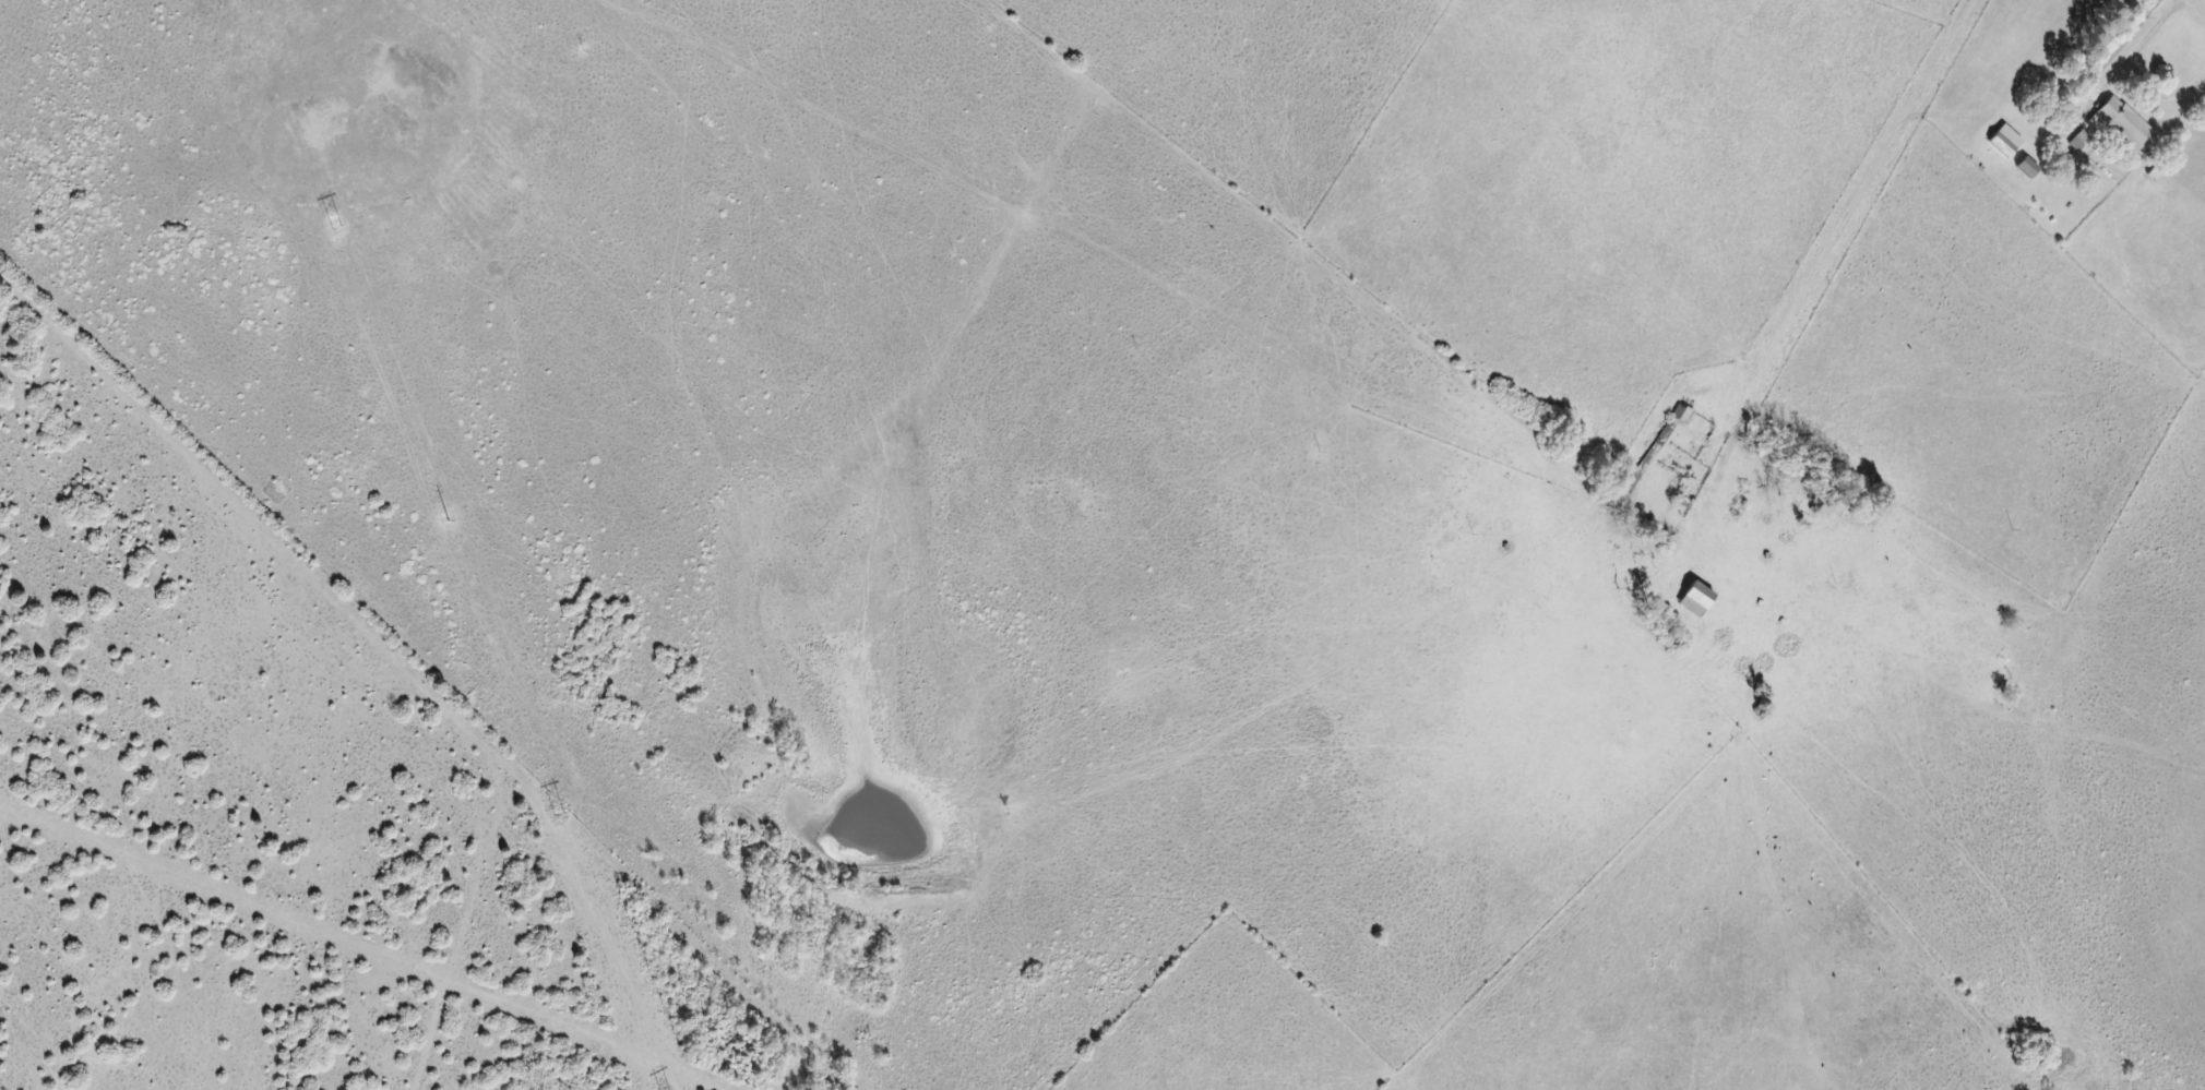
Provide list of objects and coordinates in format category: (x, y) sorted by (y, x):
road: (2197, 7)
road: (2140, 46)
building: (2122, 124)
building: (2006, 142)
building: (2081, 142)
building: (2029, 168)
road: (1856, 190)
power tower: (325, 224)
power tower: (436, 516)
building: (1697, 599)
power tower: (552, 816)

